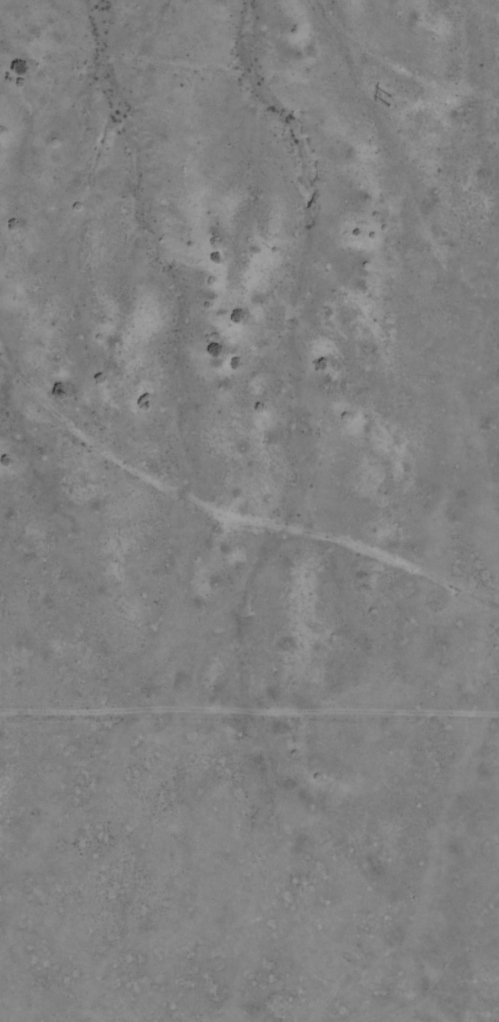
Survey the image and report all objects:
power tower: (388, 102)
road: (243, 526)
road: (431, 989)

